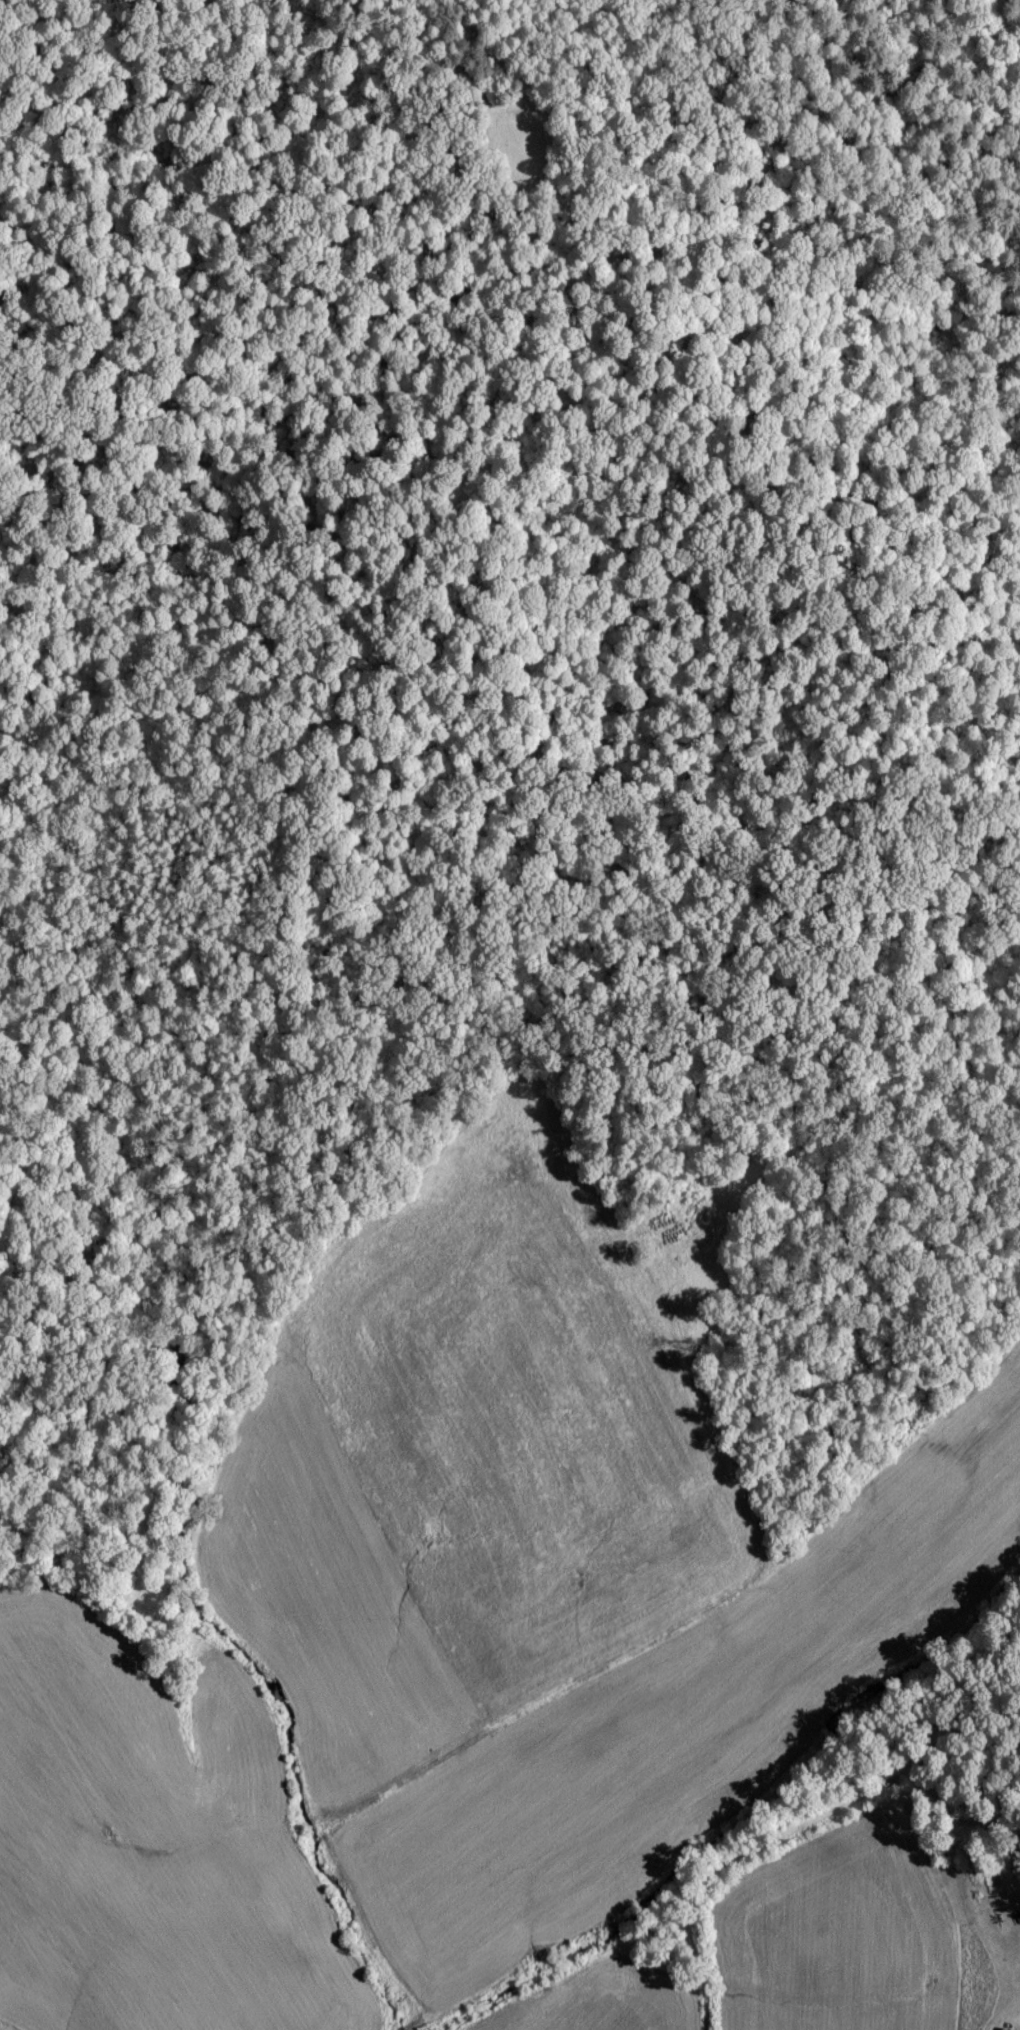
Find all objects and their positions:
road: (842, 1818)
building: (1003, 2028)

